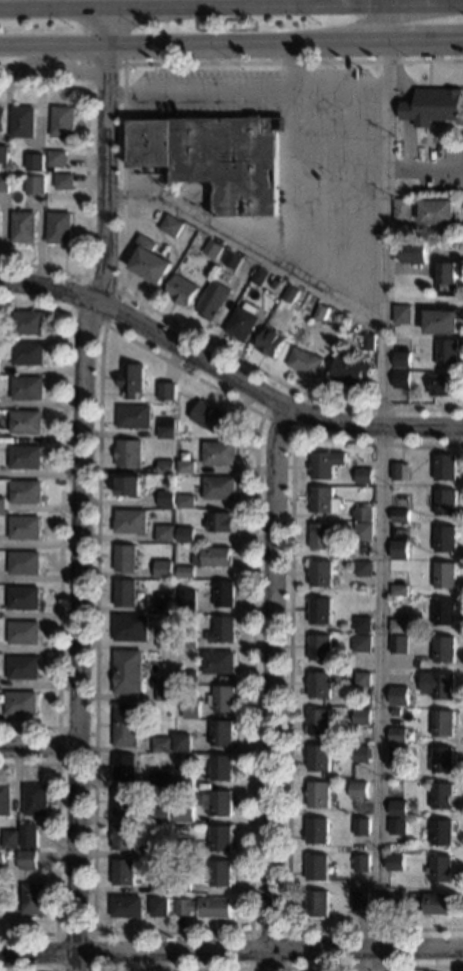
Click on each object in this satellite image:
road: (457, 2)
road: (313, 3)
road: (368, 3)
road: (412, 3)
road: (231, 6)
street lamp: (317, 22)
road: (104, 23)
street lamp: (140, 29)
road: (283, 44)
road: (79, 47)
road: (27, 48)
building: (427, 56)
street lamp: (228, 57)
street lamp: (406, 58)
road: (124, 59)
road: (32, 60)
road: (293, 60)
road: (104, 65)
road: (293, 65)
road: (60, 70)
road: (5, 72)
road: (428, 74)
road: (339, 86)
road: (105, 88)
road: (199, 88)
road: (268, 100)
building: (434, 106)
street lamp: (341, 111)
road: (201, 114)
road: (405, 114)
building: (2, 119)
road: (336, 119)
building: (24, 122)
building: (64, 122)
road: (449, 132)
road: (425, 136)
road: (438, 145)
building: (4, 149)
road: (414, 152)
road: (336, 153)
parking lot: (301, 155)
road: (424, 157)
building: (216, 158)
building: (57, 160)
building: (37, 162)
road: (424, 168)
parking lot: (439, 169)
road: (123, 177)
road: (85, 179)
road: (287, 179)
building: (65, 181)
street lamp: (341, 181)
building: (4, 183)
building: (34, 185)
street lamp: (117, 186)
road: (336, 186)
building: (402, 209)
building: (438, 211)
road: (336, 220)
building: (172, 226)
building: (23, 227)
building: (59, 227)
building: (213, 249)
road: (247, 249)
building: (413, 252)
road: (336, 255)
building: (232, 260)
building: (150, 261)
building: (260, 276)
building: (448, 278)
road: (47, 286)
building: (283, 286)
building: (182, 290)
building: (290, 293)
road: (355, 294)
building: (213, 300)
road: (68, 309)
building: (321, 313)
building: (402, 314)
building: (242, 321)
building: (27, 322)
building: (442, 322)
building: (369, 342)
building: (270, 343)
building: (448, 352)
building: (28, 353)
building: (401, 359)
building: (305, 362)
building: (350, 370)
building: (401, 380)
building: (132, 381)
road: (280, 384)
building: (444, 385)
road: (210, 387)
building: (28, 388)
building: (168, 391)
road: (267, 400)
building: (134, 416)
building: (215, 418)
building: (27, 421)
building: (167, 428)
road: (295, 431)
building: (130, 453)
building: (221, 453)
building: (26, 457)
building: (326, 464)
building: (166, 466)
building: (188, 466)
building: (445, 467)
building: (400, 472)
building: (364, 476)
building: (130, 486)
building: (220, 487)
road: (385, 488)
building: (27, 491)
building: (167, 498)
building: (323, 500)
building: (188, 501)
building: (446, 502)
building: (3, 505)
road: (60, 513)
building: (364, 513)
building: (400, 516)
building: (132, 521)
building: (222, 522)
building: (25, 527)
road: (79, 529)
building: (364, 532)
building: (165, 533)
building: (187, 534)
building: (322, 536)
building: (446, 539)
building: (399, 550)
building: (216, 557)
building: (126, 558)
building: (25, 562)
building: (364, 569)
building: (166, 572)
building: (188, 572)
building: (321, 574)
building: (445, 575)
building: (399, 590)
building: (126, 592)
building: (226, 594)
building: (25, 598)
building: (189, 600)
building: (165, 603)
building: (320, 611)
building: (445, 612)
building: (363, 625)
building: (398, 626)
building: (131, 628)
building: (225, 629)
building: (24, 632)
building: (165, 639)
building: (189, 643)
building: (362, 643)
building: (399, 644)
building: (320, 648)
building: (444, 649)
building: (219, 662)
building: (24, 667)
building: (128, 671)
building: (344, 675)
building: (189, 677)
building: (363, 680)
road: (289, 685)
building: (320, 685)
building: (438, 685)
road: (272, 689)
building: (165, 692)
building: (399, 696)
building: (223, 698)
building: (22, 703)
building: (192, 709)
building: (396, 712)
building: (361, 717)
building: (318, 722)
building: (443, 723)
building: (126, 725)
road: (58, 728)
building: (223, 733)
building: (398, 735)
building: (183, 743)
building: (160, 744)
road: (38, 748)
building: (361, 754)
building: (397, 754)
building: (319, 758)
building: (443, 759)
building: (125, 767)
building: (222, 767)
building: (185, 779)
building: (162, 780)
building: (359, 790)
building: (318, 794)
building: (442, 796)
building: (6, 799)
building: (37, 799)
building: (124, 802)
building: (221, 803)
building: (398, 808)
building: (185, 812)
building: (159, 815)
building: (398, 826)
building: (361, 827)
building: (317, 831)
building: (442, 832)
building: (30, 835)
building: (124, 837)
building: (221, 838)
building: (12, 839)
road: (57, 848)
building: (189, 849)
building: (152, 851)
building: (28, 860)
building: (395, 862)
building: (2, 863)
building: (361, 863)
building: (317, 867)
building: (440, 869)
building: (124, 872)
building: (221, 874)
building: (160, 884)
building: (183, 886)
building: (34, 898)
building: (360, 901)
building: (395, 901)
building: (317, 904)
building: (437, 904)
building: (127, 907)
building: (204, 907)
building: (159, 909)
building: (1, 911)
road: (92, 933)
road: (231, 950)
road: (171, 968)
road: (249, 968)
road: (373, 968)
road: (42, 970)

